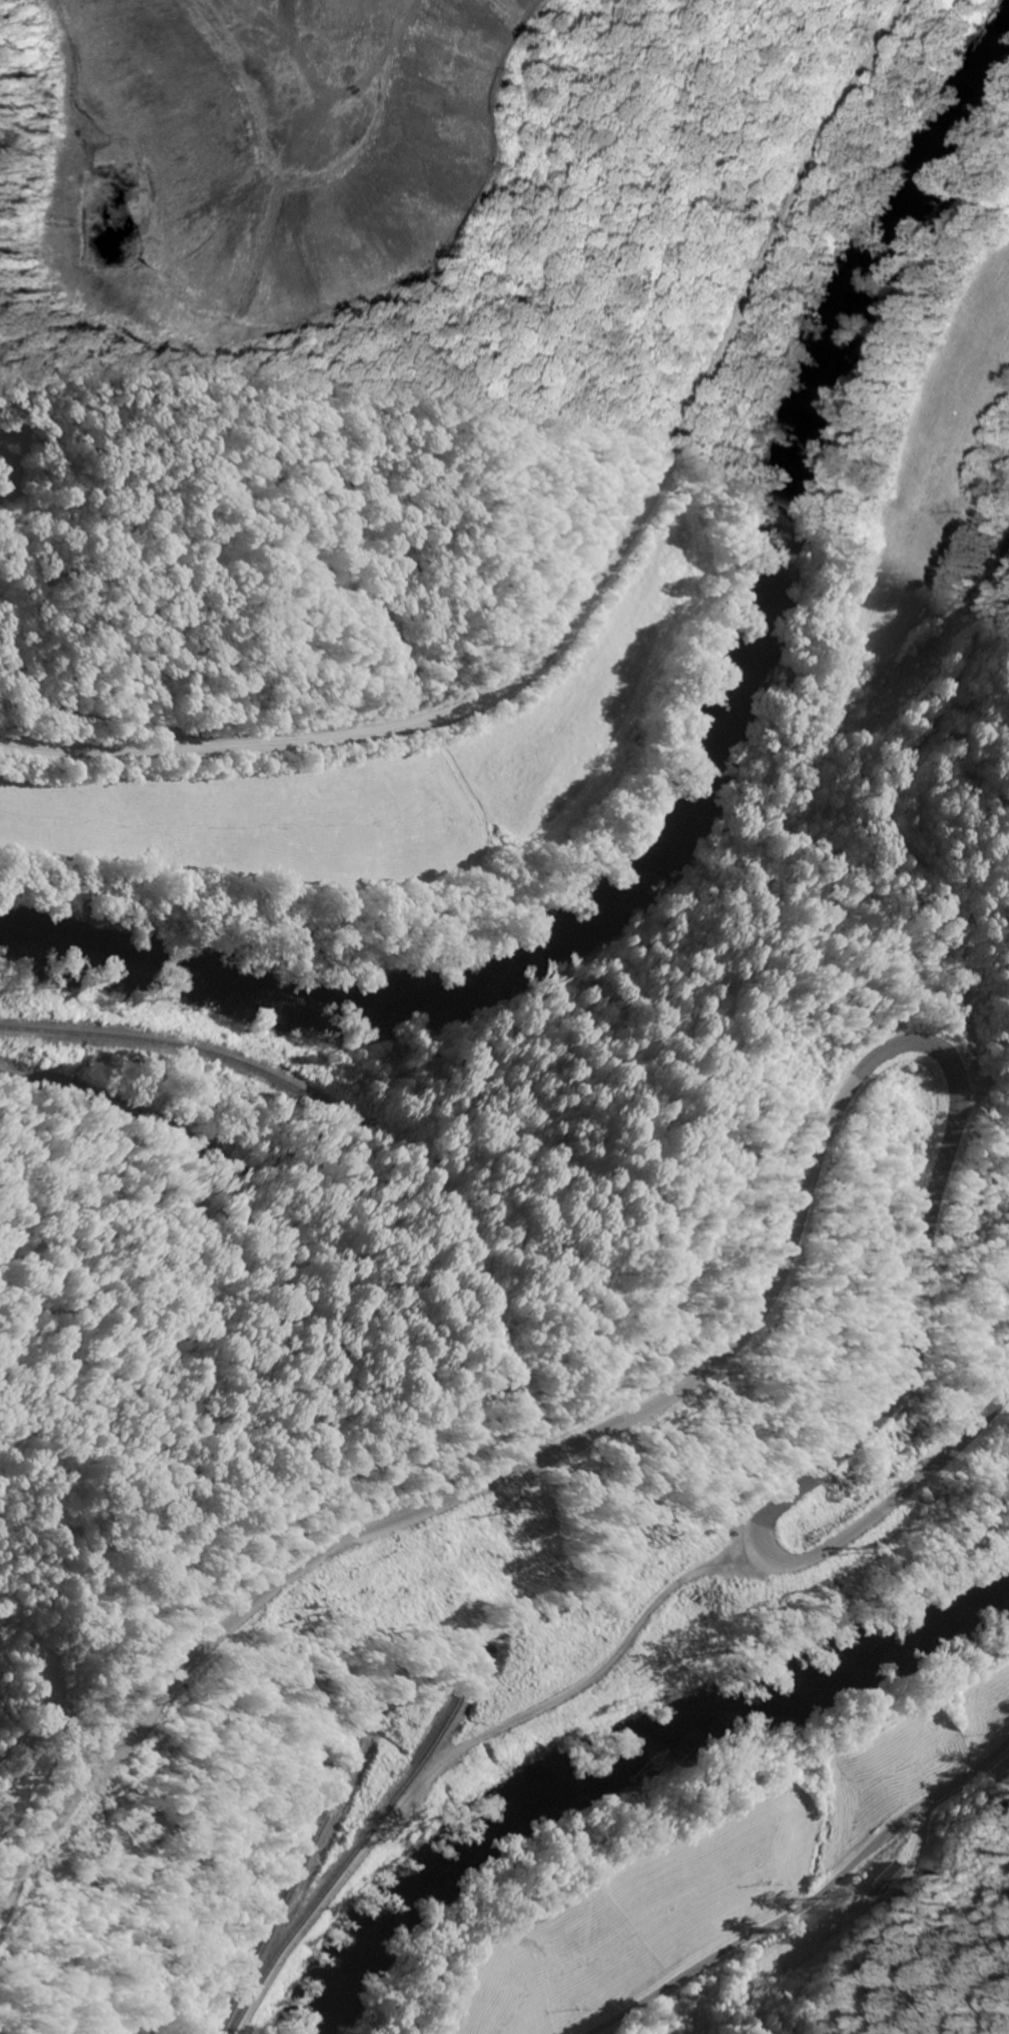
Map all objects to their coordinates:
road: (600, 579)
road: (64, 708)
river: (702, 757)
railway: (178, 1047)
road: (984, 1067)
railway: (114, 1109)
road: (806, 1188)
road: (184, 1213)
road: (460, 1749)
river: (624, 1757)
railway: (365, 1840)
railway: (302, 1871)
road: (810, 1902)

